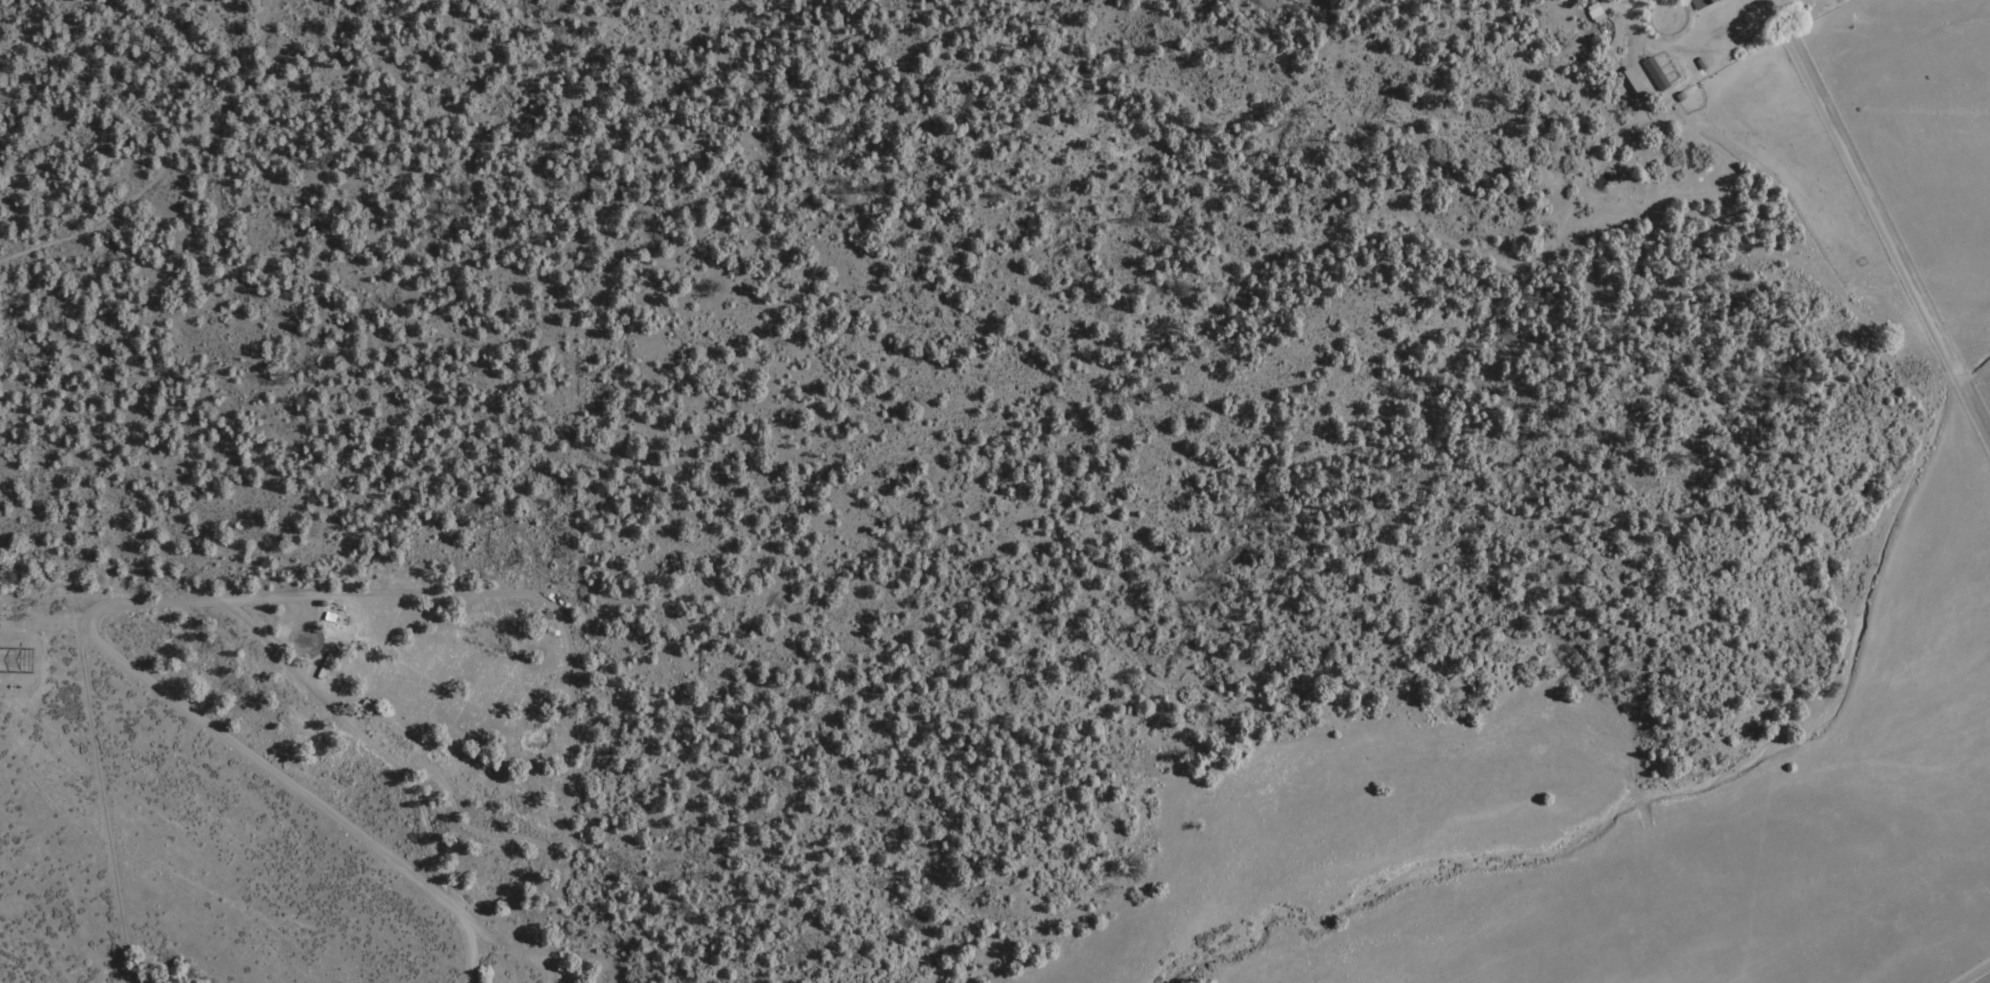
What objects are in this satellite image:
building: (1700, 3)
building: (1594, 11)
road: (1676, 42)
building: (1654, 74)
road: (167, 165)
road: (1878, 217)
road: (1883, 579)
road: (395, 593)
storage tank: (320, 600)
building: (328, 614)
building: (365, 705)
road: (186, 707)
road: (1755, 739)
road: (416, 787)
road: (1988, 982)

